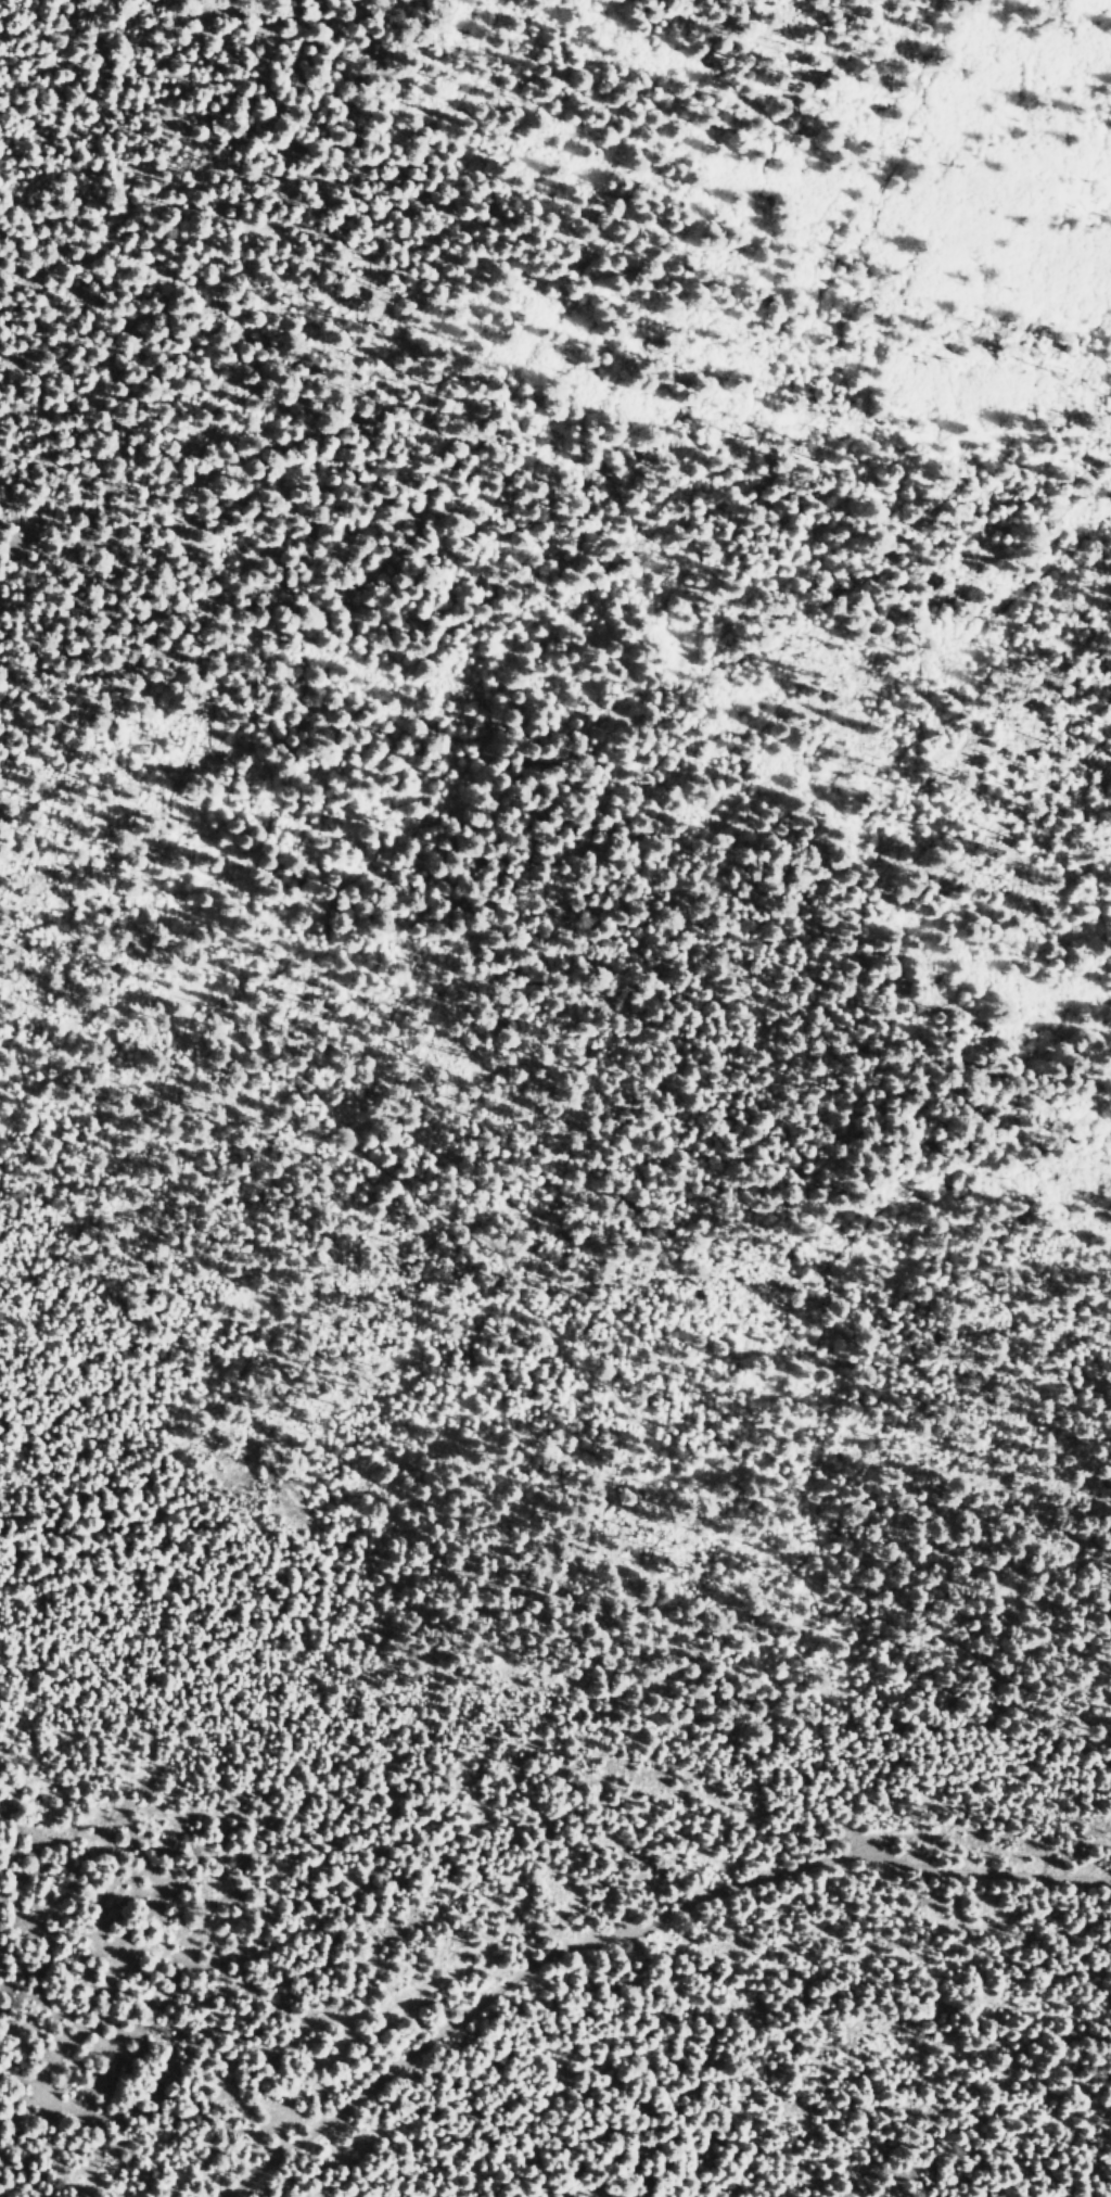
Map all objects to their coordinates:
road: (259, 924)
road: (554, 1869)
road: (627, 1930)
road: (1088, 2169)

